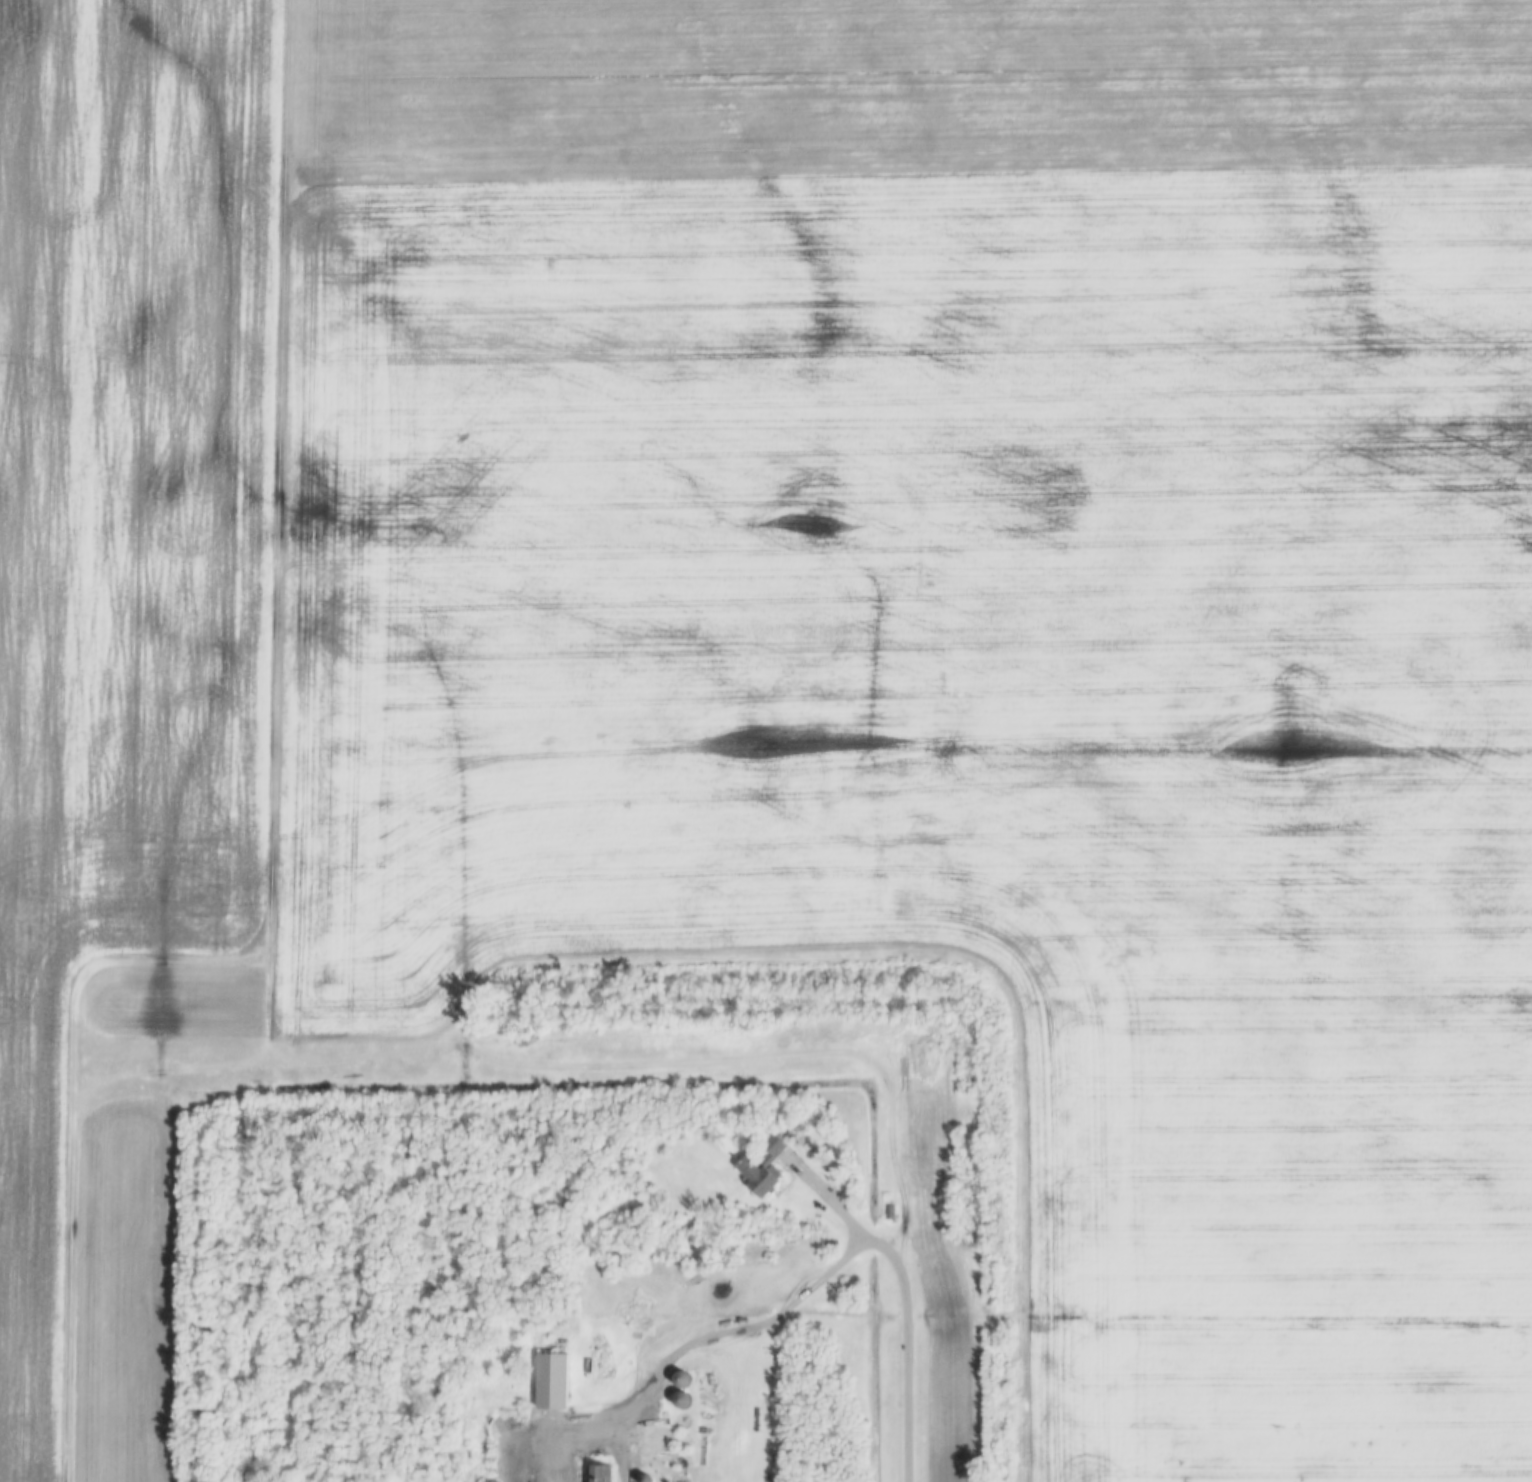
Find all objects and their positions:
crop: (872, 606)
crop: (34, 704)
building: (760, 1170)
road: (826, 1200)
building: (890, 1214)
crop: (935, 1255)
road: (824, 1281)
crop: (124, 1292)
building: (682, 1382)
silo: (682, 1382)
building: (553, 1384)
building: (682, 1402)
silo: (682, 1402)
building: (682, 1423)
silo: (682, 1423)
road: (568, 1429)
building: (682, 1444)
silo: (682, 1444)
building: (682, 1465)
silo: (682, 1465)
building: (597, 1475)
building: (682, 1479)
silo: (682, 1479)
building: (641, 1480)
silo: (641, 1480)

